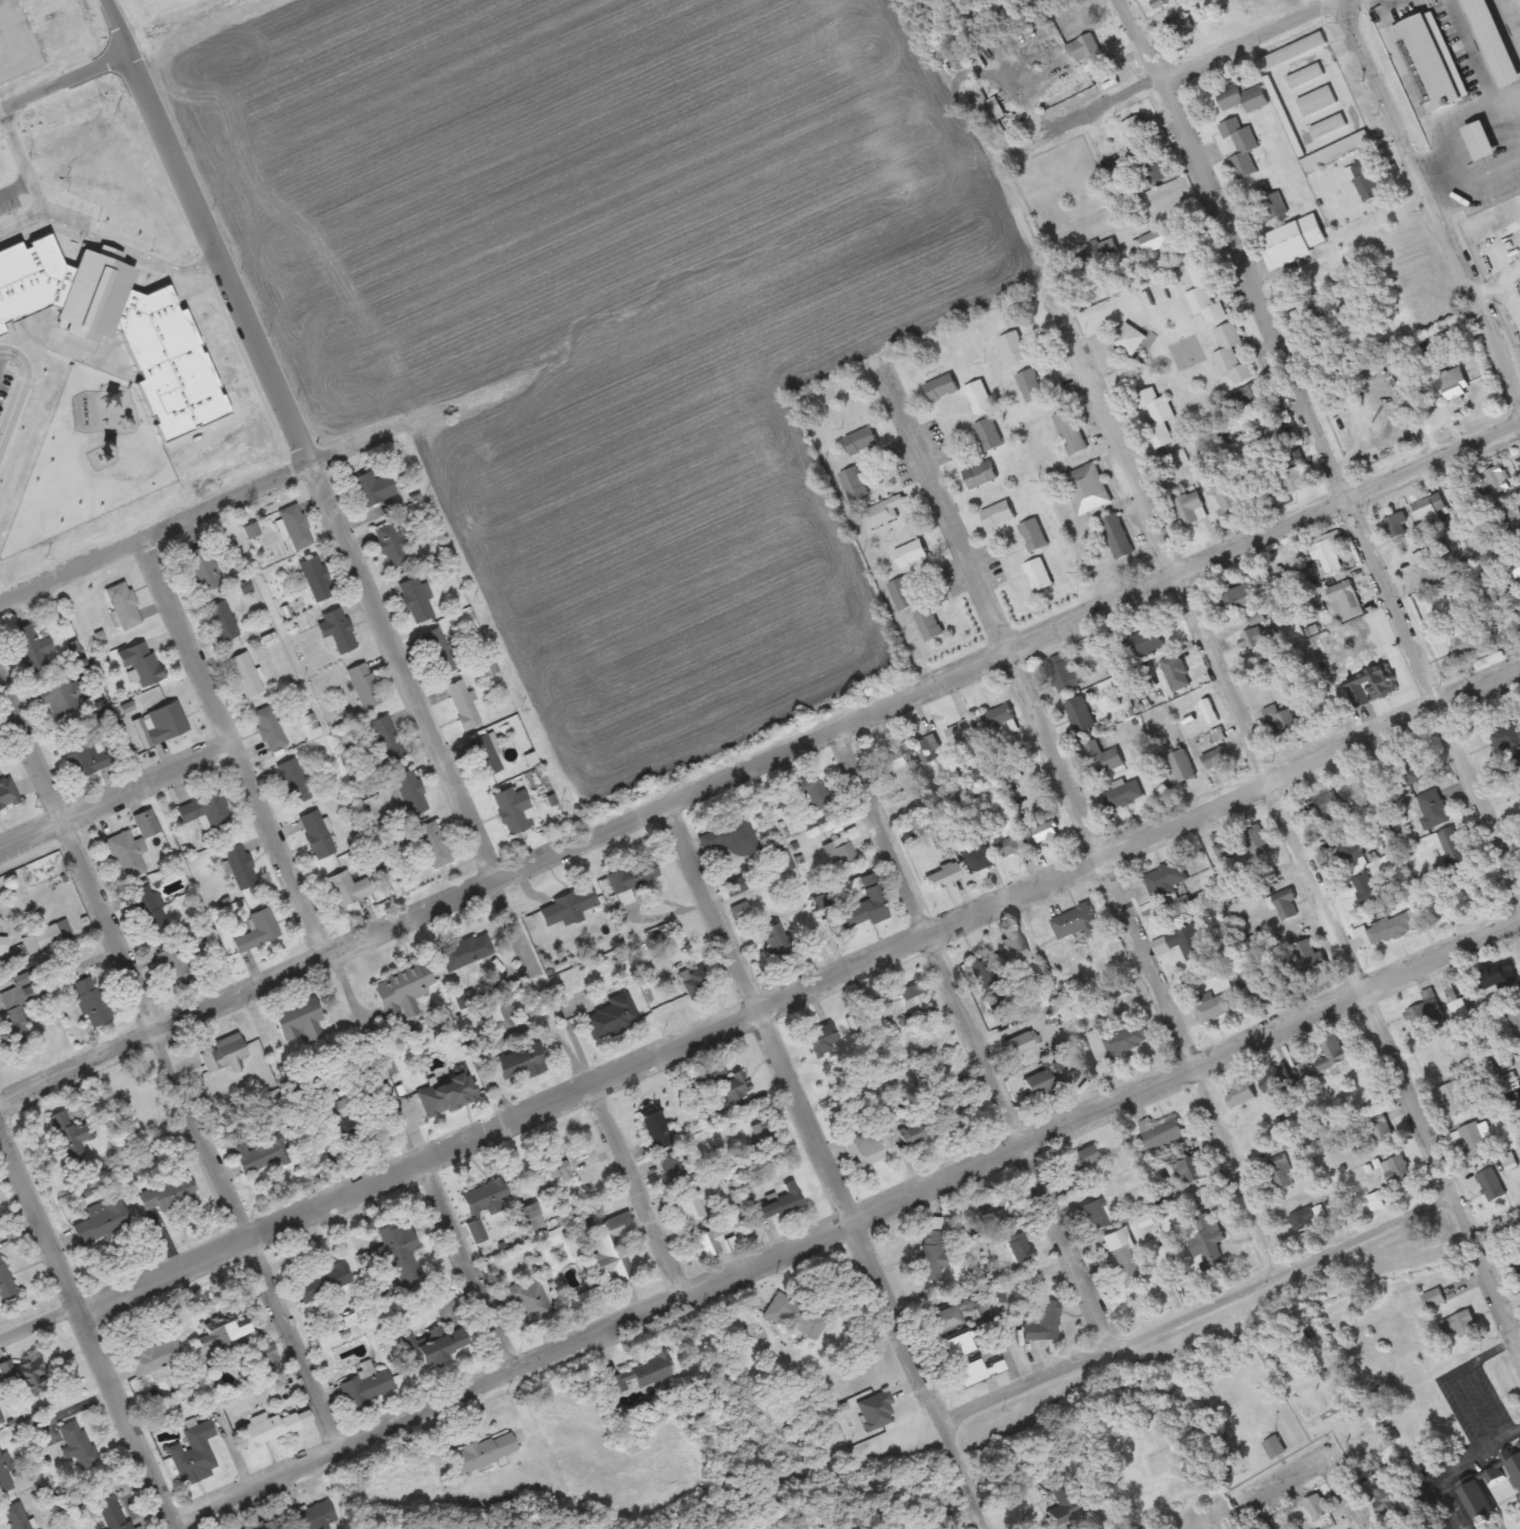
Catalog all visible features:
road: (1307, 4)
building: (1509, 14)
building: (1384, 20)
road: (1247, 38)
building: (1088, 54)
building: (1515, 60)
building: (1438, 66)
road: (64, 82)
building: (1468, 88)
building: (1244, 98)
building: (1134, 128)
building: (1241, 148)
building: (1154, 170)
building: (1365, 180)
road: (14, 190)
road: (1435, 191)
road: (1482, 193)
parking lot: (7, 202)
building: (1269, 202)
road: (19, 218)
road: (205, 233)
road: (75, 235)
building: (1295, 241)
building: (1153, 242)
building: (1089, 256)
building: (1204, 295)
building: (1305, 317)
building: (116, 335)
building: (1129, 339)
building: (1012, 348)
building: (1434, 348)
building: (1230, 354)
road: (19, 380)
parking lot: (4, 384)
building: (1029, 386)
building: (940, 388)
building: (1246, 395)
building: (978, 398)
building: (1156, 417)
building: (1069, 432)
building: (1275, 434)
building: (987, 435)
road: (1324, 439)
building: (860, 441)
road: (343, 451)
building: (1292, 459)
building: (979, 475)
building: (1497, 479)
building: (1294, 481)
building: (852, 484)
building: (372, 488)
building: (1086, 489)
building: (1220, 494)
building: (1430, 506)
building: (1190, 509)
building: (882, 512)
building: (997, 515)
building: (1513, 522)
building: (1399, 526)
building: (296, 527)
road: (153, 533)
building: (1032, 536)
building: (1116, 536)
building: (393, 546)
building: (910, 554)
building: (1327, 556)
building: (1516, 568)
building: (1428, 569)
building: (203, 570)
building: (1037, 575)
building: (316, 578)
building: (902, 594)
building: (1239, 596)
building: (416, 600)
building: (1348, 600)
building: (124, 605)
building: (222, 621)
building: (928, 624)
building: (337, 630)
building: (1255, 639)
building: (1146, 640)
building: (1466, 640)
building: (32, 648)
building: (438, 652)
building: (142, 663)
road: (400, 668)
building: (1175, 672)
building: (245, 675)
building: (1065, 675)
building: (364, 686)
building: (1372, 687)
building: (61, 698)
building: (462, 705)
building: (1079, 715)
building: (998, 716)
building: (1281, 723)
building: (160, 725)
building: (309, 726)
building: (269, 728)
building: (963, 737)
building: (386, 739)
building: (926, 750)
road: (759, 753)
building: (89, 755)
building: (485, 755)
building: (1103, 758)
building: (1215, 759)
building: (890, 763)
building: (1182, 766)
building: (1409, 772)
building: (293, 781)
building: (808, 791)
building: (411, 793)
building: (1123, 794)
building: (7, 795)
road: (121, 802)
building: (1328, 806)
building: (512, 808)
building: (205, 810)
building: (1431, 810)
building: (1518, 816)
road: (1086, 822)
building: (147, 824)
building: (1042, 833)
building: (316, 835)
building: (730, 838)
building: (1256, 843)
building: (434, 844)
building: (1224, 844)
building: (1010, 845)
road: (1300, 845)
building: (1346, 848)
building: (1452, 849)
building: (839, 852)
building: (125, 855)
building: (782, 860)
building: (977, 860)
building: (240, 866)
building: (942, 876)
building: (630, 877)
building: (1156, 885)
building: (349, 888)
building: (731, 888)
building: (1366, 889)
building: (1468, 895)
building: (568, 906)
building: (1286, 908)
building: (148, 909)
building: (739, 910)
building: (861, 912)
building: (1075, 922)
building: (0, 923)
building: (1395, 927)
building: (258, 931)
building: (46, 937)
building: (773, 939)
building: (1185, 941)
building: (3, 945)
road: (328, 952)
building: (466, 952)
building: (1016, 952)
building: (1302, 961)
building: (173, 962)
building: (982, 973)
building: (1496, 978)
building: (694, 982)
building: (404, 986)
building: (1250, 991)
building: (907, 999)
building: (90, 1002)
building: (12, 1006)
road: (760, 1006)
building: (1212, 1007)
building: (1424, 1010)
building: (495, 1013)
building: (610, 1017)
building: (299, 1020)
building: (1515, 1021)
road: (973, 1037)
building: (821, 1039)
building: (1115, 1042)
building: (1018, 1044)
building: (222, 1054)
building: (1331, 1054)
road: (168, 1062)
building: (521, 1064)
building: (1039, 1081)
building: (1275, 1081)
building: (734, 1087)
building: (1239, 1093)
building: (447, 1095)
building: (1453, 1099)
building: (960, 1108)
building: (336, 1111)
building: (1381, 1129)
building: (656, 1130)
building: (70, 1131)
building: (1164, 1133)
building: (914, 1134)
building: (763, 1139)
building: (1469, 1140)
building: (866, 1150)
building: (258, 1154)
building: (1078, 1159)
road: (827, 1162)
road: (609, 1167)
building: (557, 1168)
building: (676, 1168)
building: (1395, 1169)
building: (1189, 1171)
building: (1282, 1173)
building: (1490, 1184)
building: (168, 1194)
building: (486, 1197)
building: (994, 1199)
building: (780, 1204)
building: (691, 1207)
building: (1096, 1214)
building: (1303, 1219)
building: (101, 1220)
building: (535, 1221)
road: (843, 1222)
building: (1208, 1243)
building: (710, 1244)
building: (398, 1248)
building: (933, 1248)
building: (1021, 1248)
building: (613, 1265)
building: (1126, 1267)
building: (1513, 1273)
building: (323, 1282)
building: (5, 1285)
building: (528, 1300)
road: (1203, 1314)
building: (795, 1316)
building: (952, 1316)
building: (1044, 1323)
building: (1459, 1324)
road: (85, 1334)
building: (229, 1337)
building: (960, 1346)
building: (435, 1347)
building: (155, 1356)
building: (971, 1374)
building: (638, 1375)
building: (30, 1379)
building: (366, 1388)
building: (1157, 1414)
building: (0, 1422)
building: (274, 1427)
building: (77, 1444)
building: (1519, 1444)
building: (1273, 1448)
building: (195, 1452)
building: (483, 1452)
building: (1516, 1468)
building: (5, 1472)
road: (1308, 1494)
road: (1374, 1501)
building: (1480, 1503)
building: (1064, 1504)
building: (1316, 1506)
building: (112, 1509)
building: (17, 1516)
building: (314, 1517)
road: (969, 1521)
building: (1397, 1522)
building: (1430, 1527)

